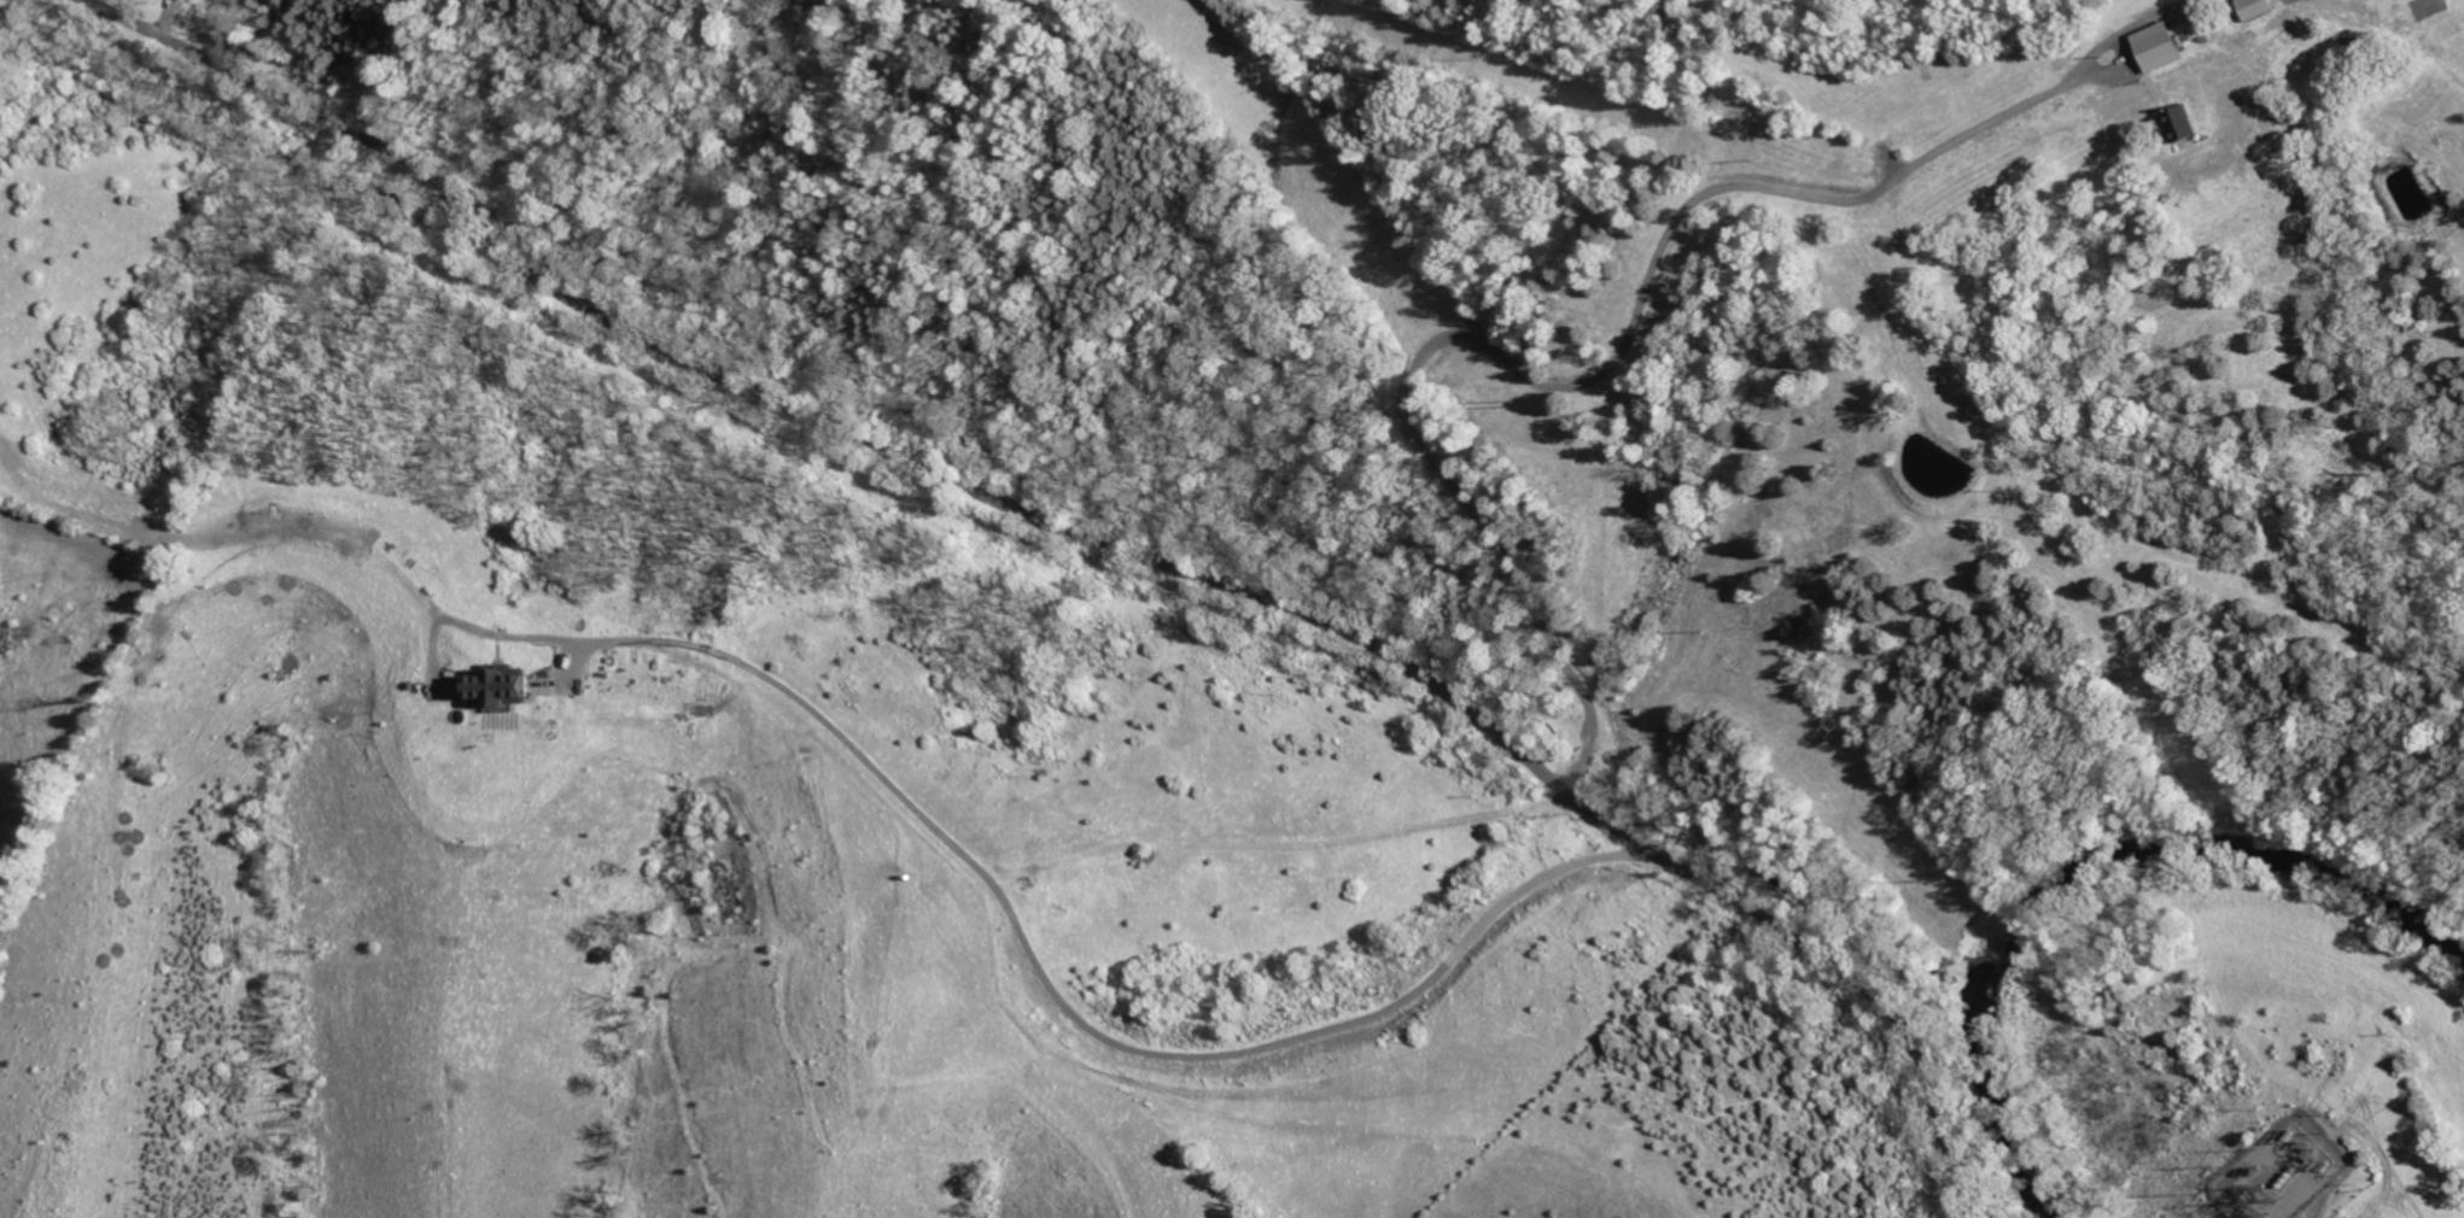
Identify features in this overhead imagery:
building: (2357, 5)
building: (2246, 8)
building: (241, 42)
building: (2162, 46)
road: (1646, 305)
road: (1096, 540)
building: (498, 685)
road: (1057, 997)
power substation: (2285, 1171)
road: (2301, 1216)

